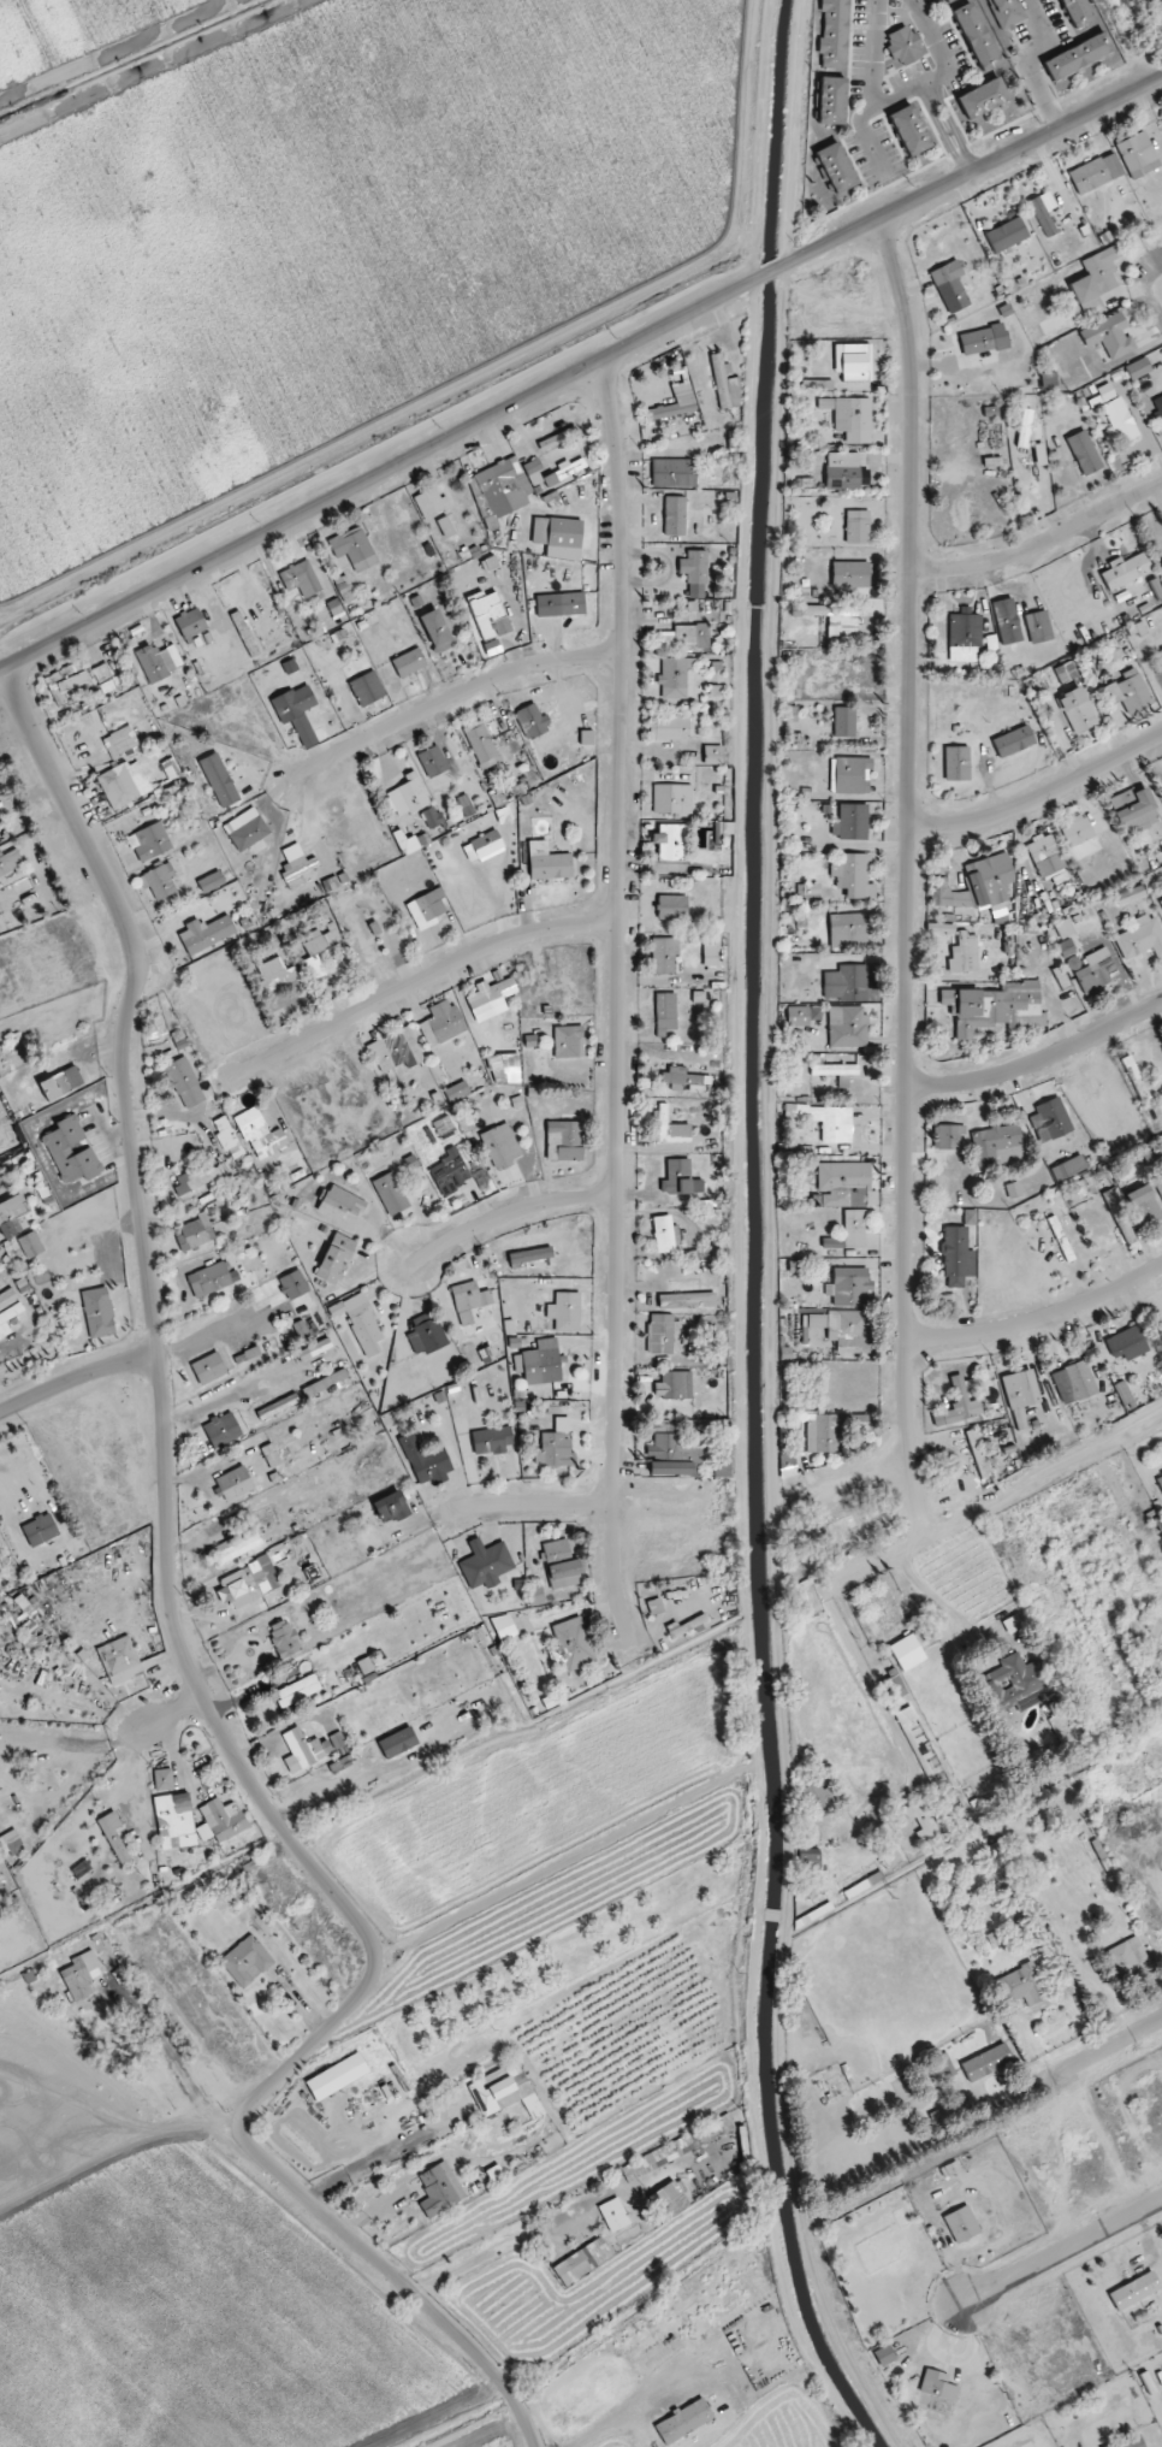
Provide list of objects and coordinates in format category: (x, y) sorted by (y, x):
building: (1154, 0)
building: (1075, 12)
building: (1004, 13)
building: (836, 34)
building: (976, 36)
building: (903, 47)
road: (939, 47)
building: (1078, 57)
road: (1036, 66)
road: (873, 82)
road: (929, 91)
building: (983, 97)
road: (933, 99)
building: (832, 100)
building: (908, 131)
building: (1138, 155)
road: (965, 162)
building: (836, 167)
building: (1096, 173)
building: (1043, 215)
building: (1007, 235)
building: (1096, 276)
building: (950, 286)
building: (1092, 307)
building: (1109, 336)
building: (984, 339)
building: (855, 362)
building: (1138, 368)
road: (586, 372)
building: (1048, 379)
building: (817, 385)
building: (725, 386)
building: (1105, 392)
building: (1158, 404)
building: (850, 418)
building: (1120, 419)
building: (558, 438)
building: (1084, 453)
building: (1039, 454)
building: (533, 469)
building: (843, 471)
building: (672, 473)
building: (500, 487)
building: (431, 503)
building: (675, 515)
building: (445, 527)
building: (858, 527)
building: (558, 537)
road: (1041, 544)
building: (354, 549)
building: (696, 572)
building: (1126, 572)
building: (850, 574)
building: (301, 579)
building: (571, 603)
building: (490, 615)
building: (836, 616)
building: (1007, 621)
building: (191, 623)
building: (1038, 626)
building: (243, 631)
building: (435, 631)
building: (686, 637)
building: (965, 637)
building: (159, 662)
building: (409, 662)
building: (290, 666)
road: (5, 668)
building: (101, 673)
building: (675, 676)
building: (65, 682)
building: (367, 688)
building: (1130, 691)
road: (457, 696)
building: (294, 703)
building: (1077, 710)
building: (532, 720)
building: (844, 722)
building: (669, 728)
building: (121, 741)
building: (1014, 741)
building: (482, 745)
building: (712, 755)
building: (433, 762)
building: (956, 763)
building: (171, 768)
building: (850, 775)
building: (219, 780)
building: (124, 784)
building: (408, 796)
building: (672, 799)
road: (1041, 802)
building: (466, 805)
building: (1133, 808)
building: (432, 817)
building: (852, 822)
building: (724, 827)
building: (247, 829)
building: (1077, 831)
building: (153, 840)
building: (670, 843)
building: (484, 846)
building: (1047, 856)
building: (10, 862)
building: (297, 862)
building: (549, 862)
road: (909, 875)
building: (853, 876)
building: (989, 879)
building: (158, 882)
building: (212, 882)
building: (948, 894)
building: (1130, 894)
building: (1161, 902)
building: (672, 906)
building: (427, 909)
building: (941, 928)
building: (1065, 928)
building: (848, 930)
building: (206, 934)
building: (1140, 938)
building: (322, 939)
building: (1066, 947)
building: (966, 953)
building: (664, 956)
building: (711, 957)
building: (314, 967)
building: (1097, 970)
building: (274, 975)
road: (416, 982)
building: (846, 983)
building: (491, 998)
road: (617, 1001)
building: (991, 1006)
building: (665, 1013)
building: (804, 1015)
building: (441, 1023)
building: (847, 1027)
building: (569, 1041)
building: (396, 1051)
road: (1038, 1057)
building: (505, 1069)
building: (837, 1072)
building: (680, 1078)
building: (185, 1082)
building: (61, 1083)
building: (457, 1092)
building: (1050, 1119)
building: (825, 1121)
building: (671, 1128)
building: (261, 1134)
building: (950, 1136)
building: (229, 1137)
building: (1161, 1137)
building: (565, 1141)
building: (997, 1145)
building: (502, 1146)
building: (71, 1152)
building: (411, 1162)
building: (1068, 1168)
building: (450, 1171)
building: (677, 1177)
building: (196, 1178)
building: (846, 1184)
building: (1014, 1189)
building: (390, 1194)
building: (340, 1202)
building: (1143, 1205)
building: (1119, 1216)
road: (502, 1217)
building: (970, 1217)
building: (13, 1220)
building: (850, 1231)
building: (195, 1233)
building: (666, 1235)
building: (31, 1245)
building: (528, 1257)
building: (958, 1257)
building: (336, 1258)
building: (212, 1279)
building: (294, 1284)
building: (849, 1287)
building: (7, 1299)
building: (469, 1300)
building: (687, 1300)
building: (565, 1312)
building: (99, 1313)
road: (1039, 1320)
building: (847, 1322)
building: (363, 1324)
building: (4, 1326)
building: (427, 1332)
building: (660, 1334)
building: (1127, 1343)
building: (314, 1349)
building: (543, 1363)
building: (209, 1369)
road: (76, 1378)
building: (1077, 1381)
building: (326, 1384)
building: (675, 1385)
building: (1020, 1395)
building: (960, 1402)
building: (274, 1408)
building: (223, 1430)
building: (822, 1434)
building: (492, 1440)
building: (556, 1450)
building: (672, 1452)
building: (978, 1453)
building: (271, 1456)
building: (427, 1460)
building: (722, 1467)
building: (1160, 1480)
building: (235, 1483)
road: (992, 1500)
road: (522, 1505)
building: (391, 1507)
building: (40, 1529)
building: (846, 1532)
building: (237, 1545)
building: (556, 1549)
building: (486, 1564)
building: (565, 1574)
building: (248, 1583)
building: (535, 1595)
road: (935, 1598)
building: (654, 1607)
building: (504, 1627)
building: (285, 1638)
building: (571, 1645)
road: (182, 1655)
building: (119, 1659)
building: (1019, 1683)
building: (895, 1688)
building: (300, 1690)
road: (168, 1714)
building: (906, 1715)
building: (397, 1742)
building: (301, 1750)
building: (162, 1779)
road: (326, 1789)
building: (819, 1796)
building: (174, 1820)
building: (221, 1820)
building: (921, 1820)
building: (113, 1836)
building: (998, 1855)
building: (808, 1862)
building: (1128, 1957)
building: (247, 1961)
building: (79, 1974)
building: (1022, 1985)
road: (1102, 2046)
building: (986, 2062)
building: (337, 2075)
building: (678, 2147)
building: (494, 2173)
building: (439, 2189)
road: (391, 2197)
building: (669, 2200)
building: (613, 2215)
building: (961, 2224)
road: (498, 2248)
road: (1062, 2251)
building: (582, 2260)
building: (1134, 2291)
building: (937, 2384)
building: (683, 2421)
building: (1128, 2442)

